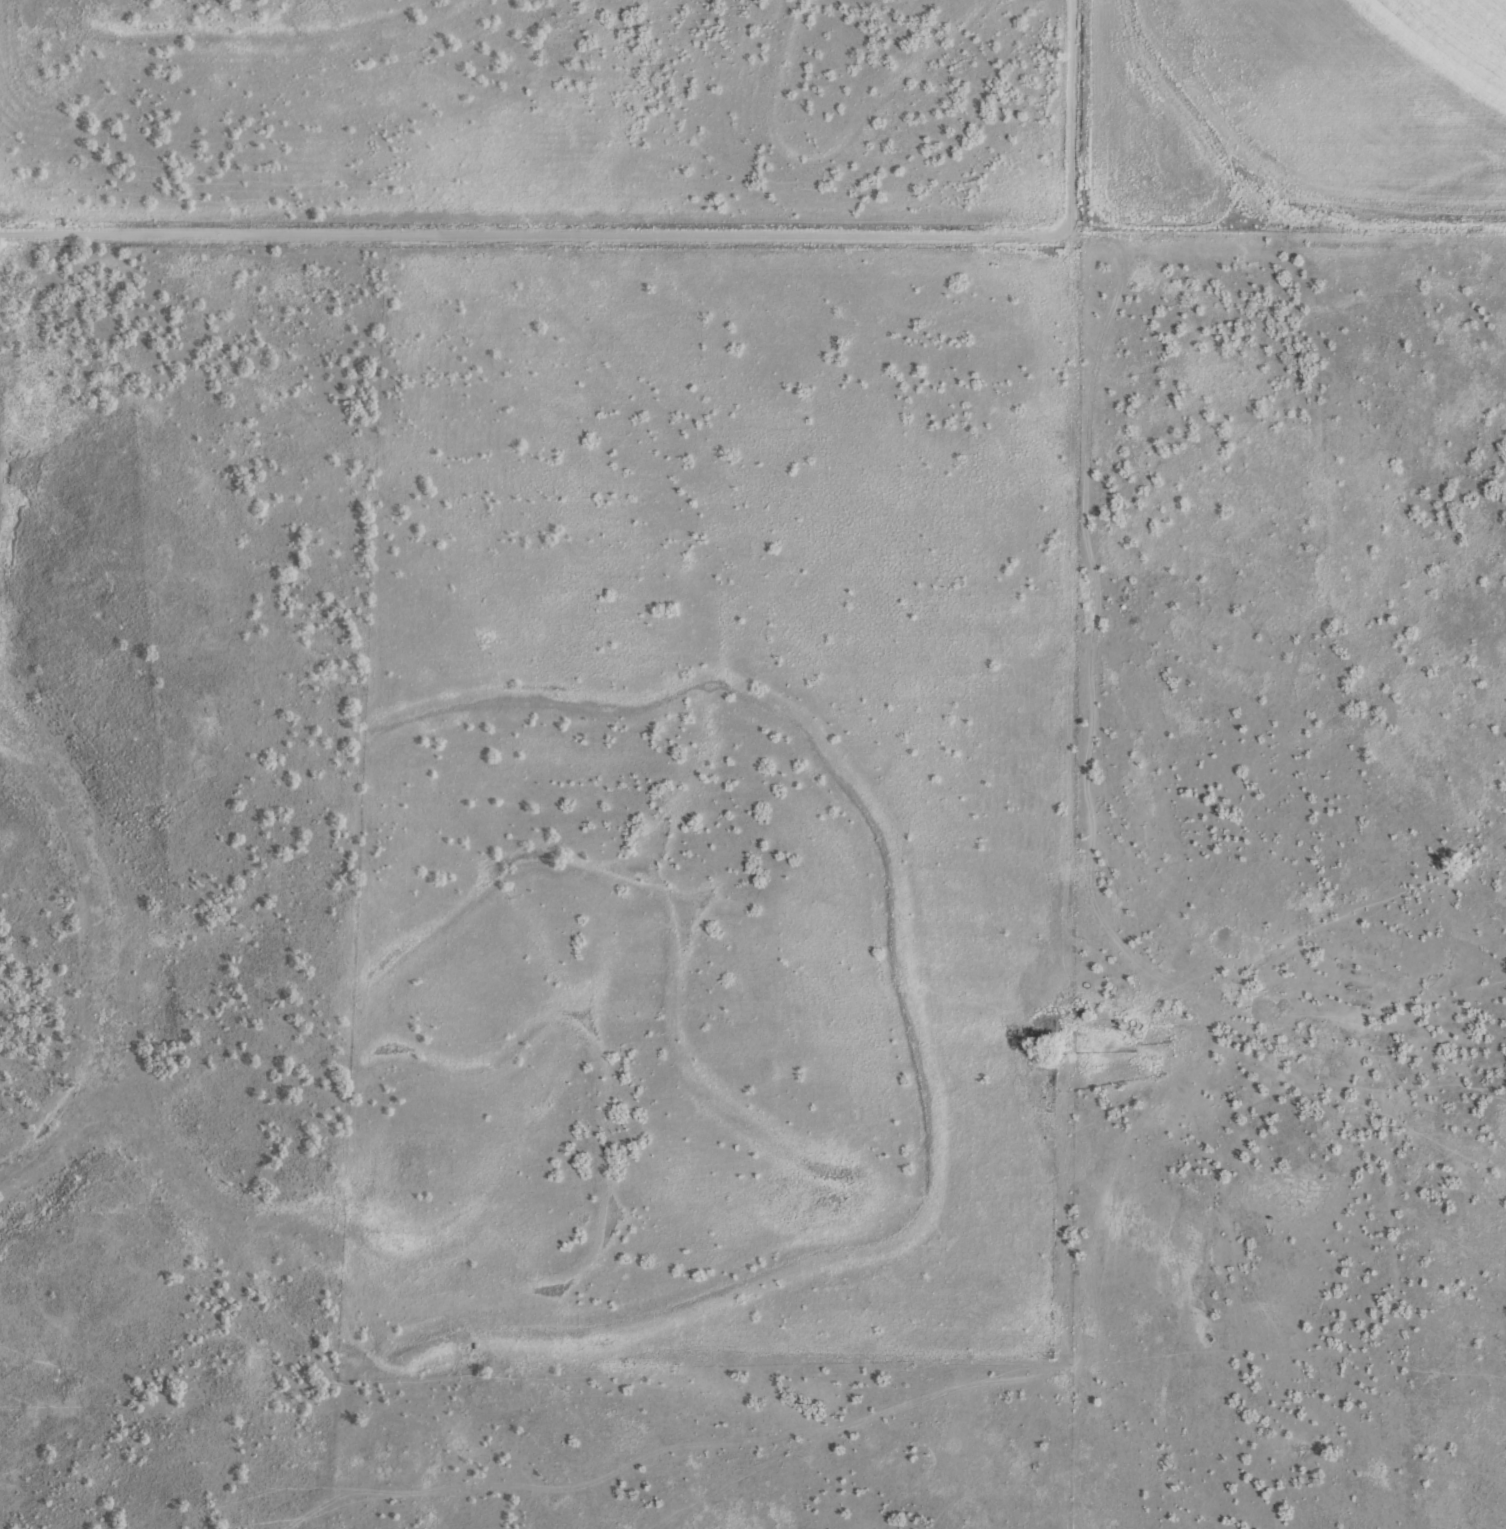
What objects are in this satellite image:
road: (1076, 117)
road: (537, 234)
road: (1079, 580)

